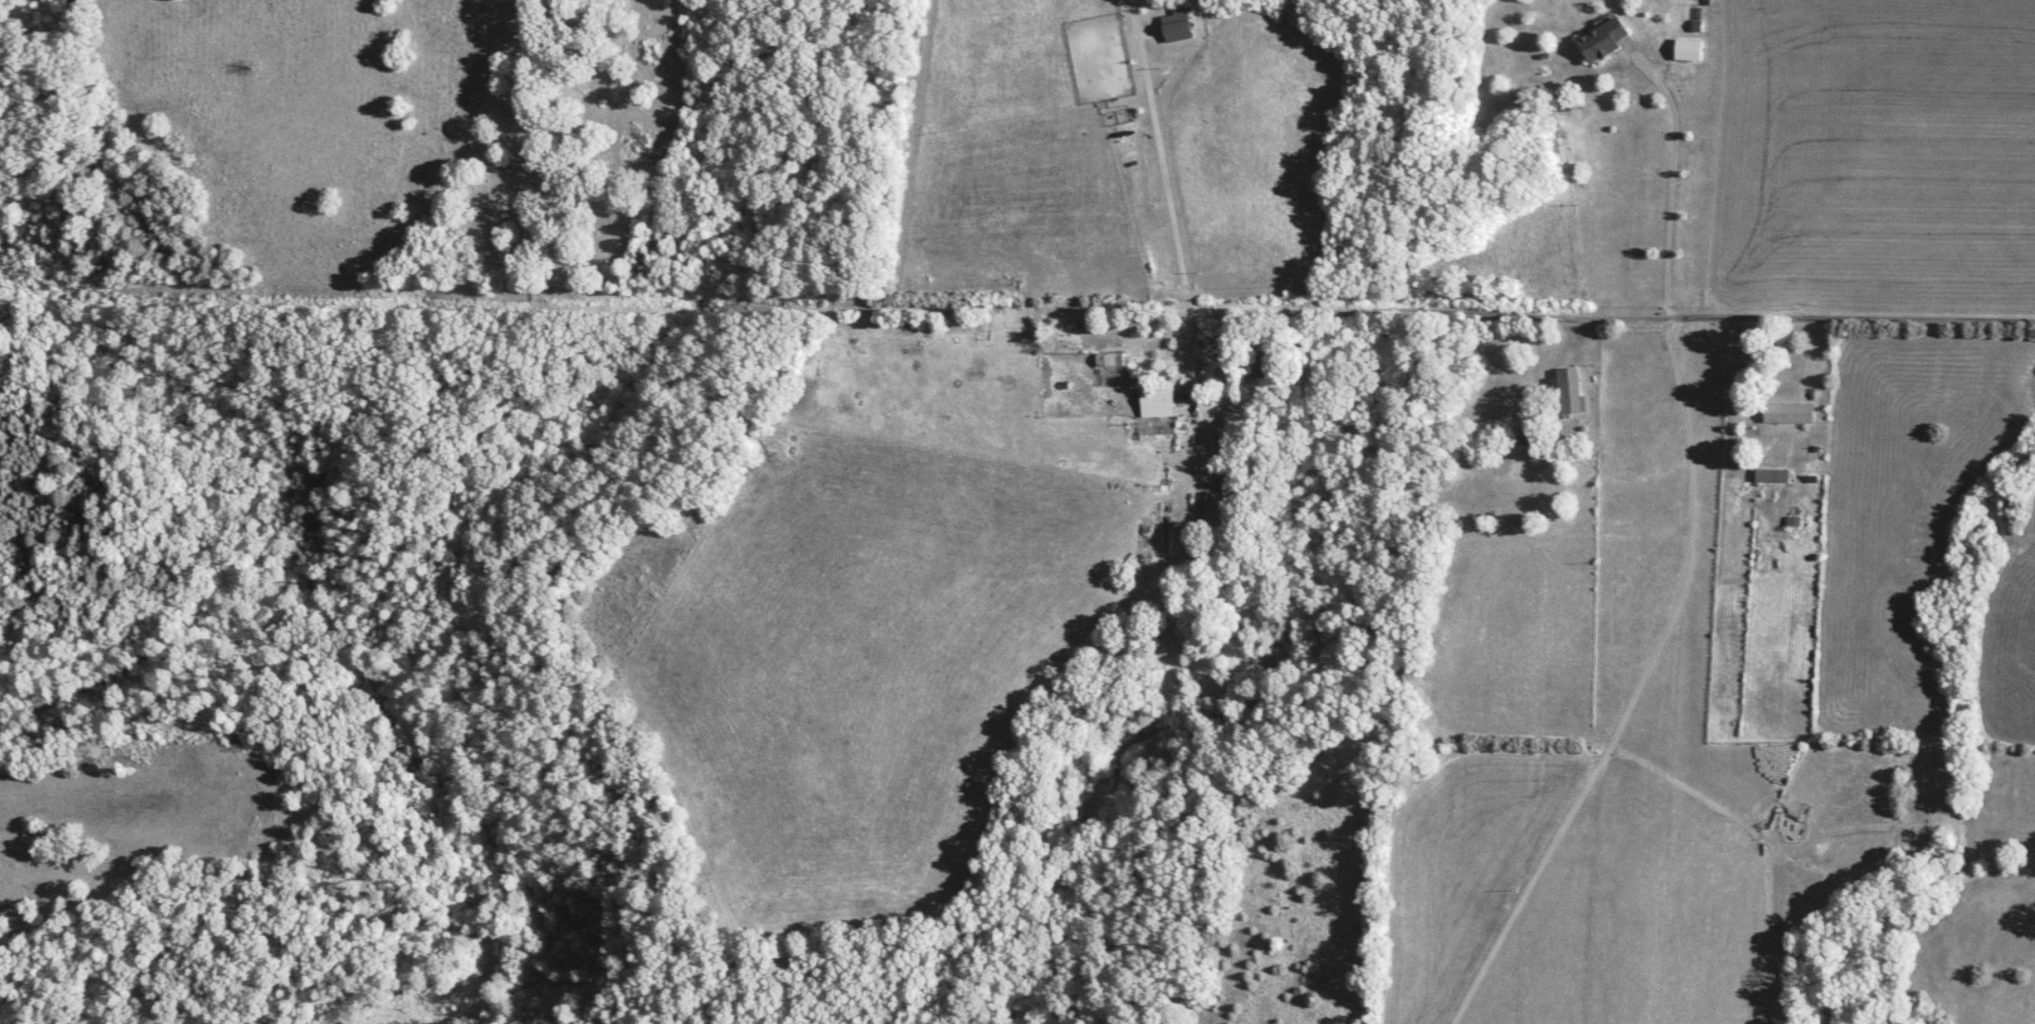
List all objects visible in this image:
building: (1605, 41)
building: (1688, 51)
road: (1678, 176)
road: (1455, 311)
road: (1187, 354)
building: (1109, 361)
building: (1568, 392)
building: (1156, 404)
building: (1788, 414)
building: (1771, 476)
building: (1213, 507)
road: (1641, 691)

